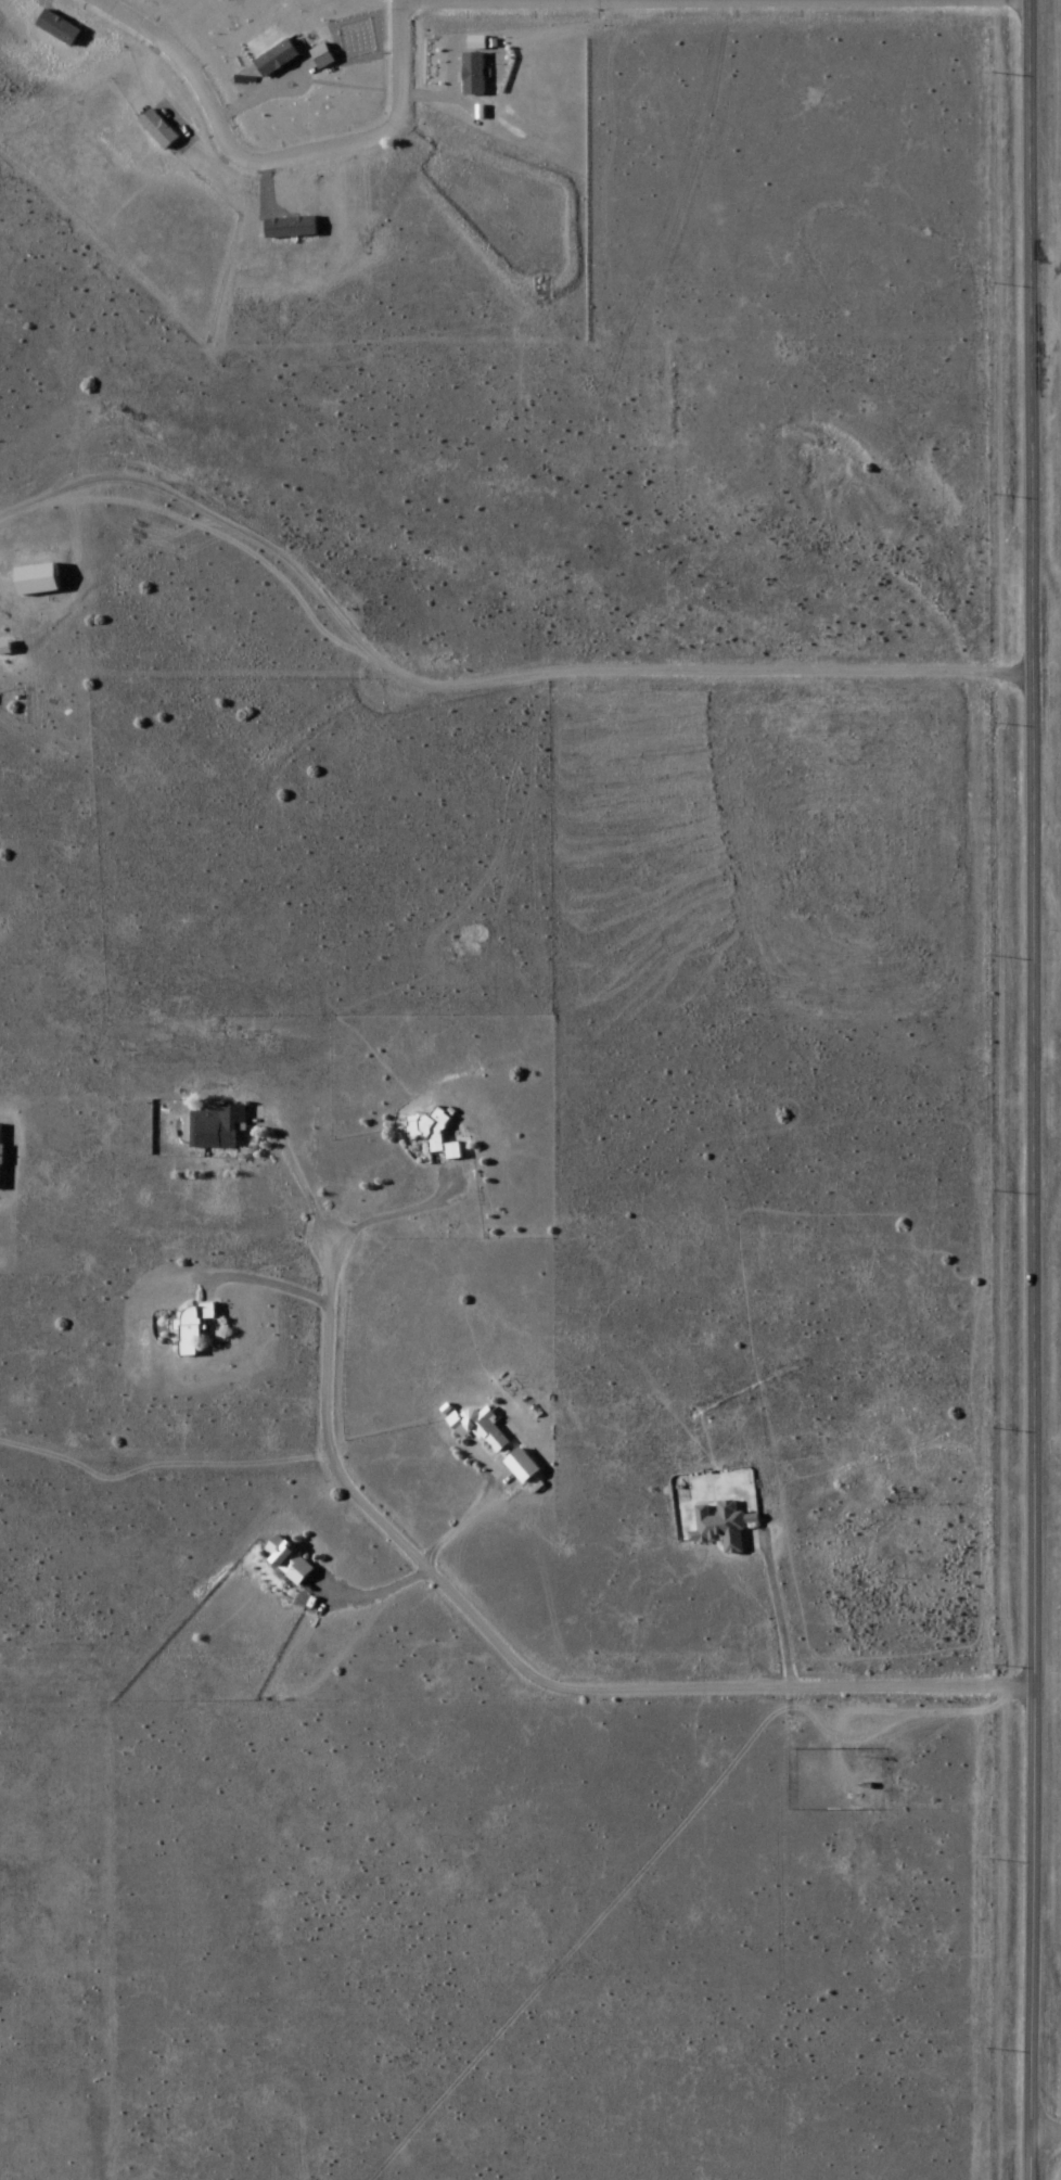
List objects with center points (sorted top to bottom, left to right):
road: (713, 3)
road: (274, 162)
building: (37, 581)
road: (1022, 1089)
building: (217, 1130)
building: (434, 1136)
building: (0, 1150)
building: (193, 1327)
building: (480, 1428)
building: (720, 1527)
building: (287, 1560)
road: (523, 1669)
road: (1044, 2142)

